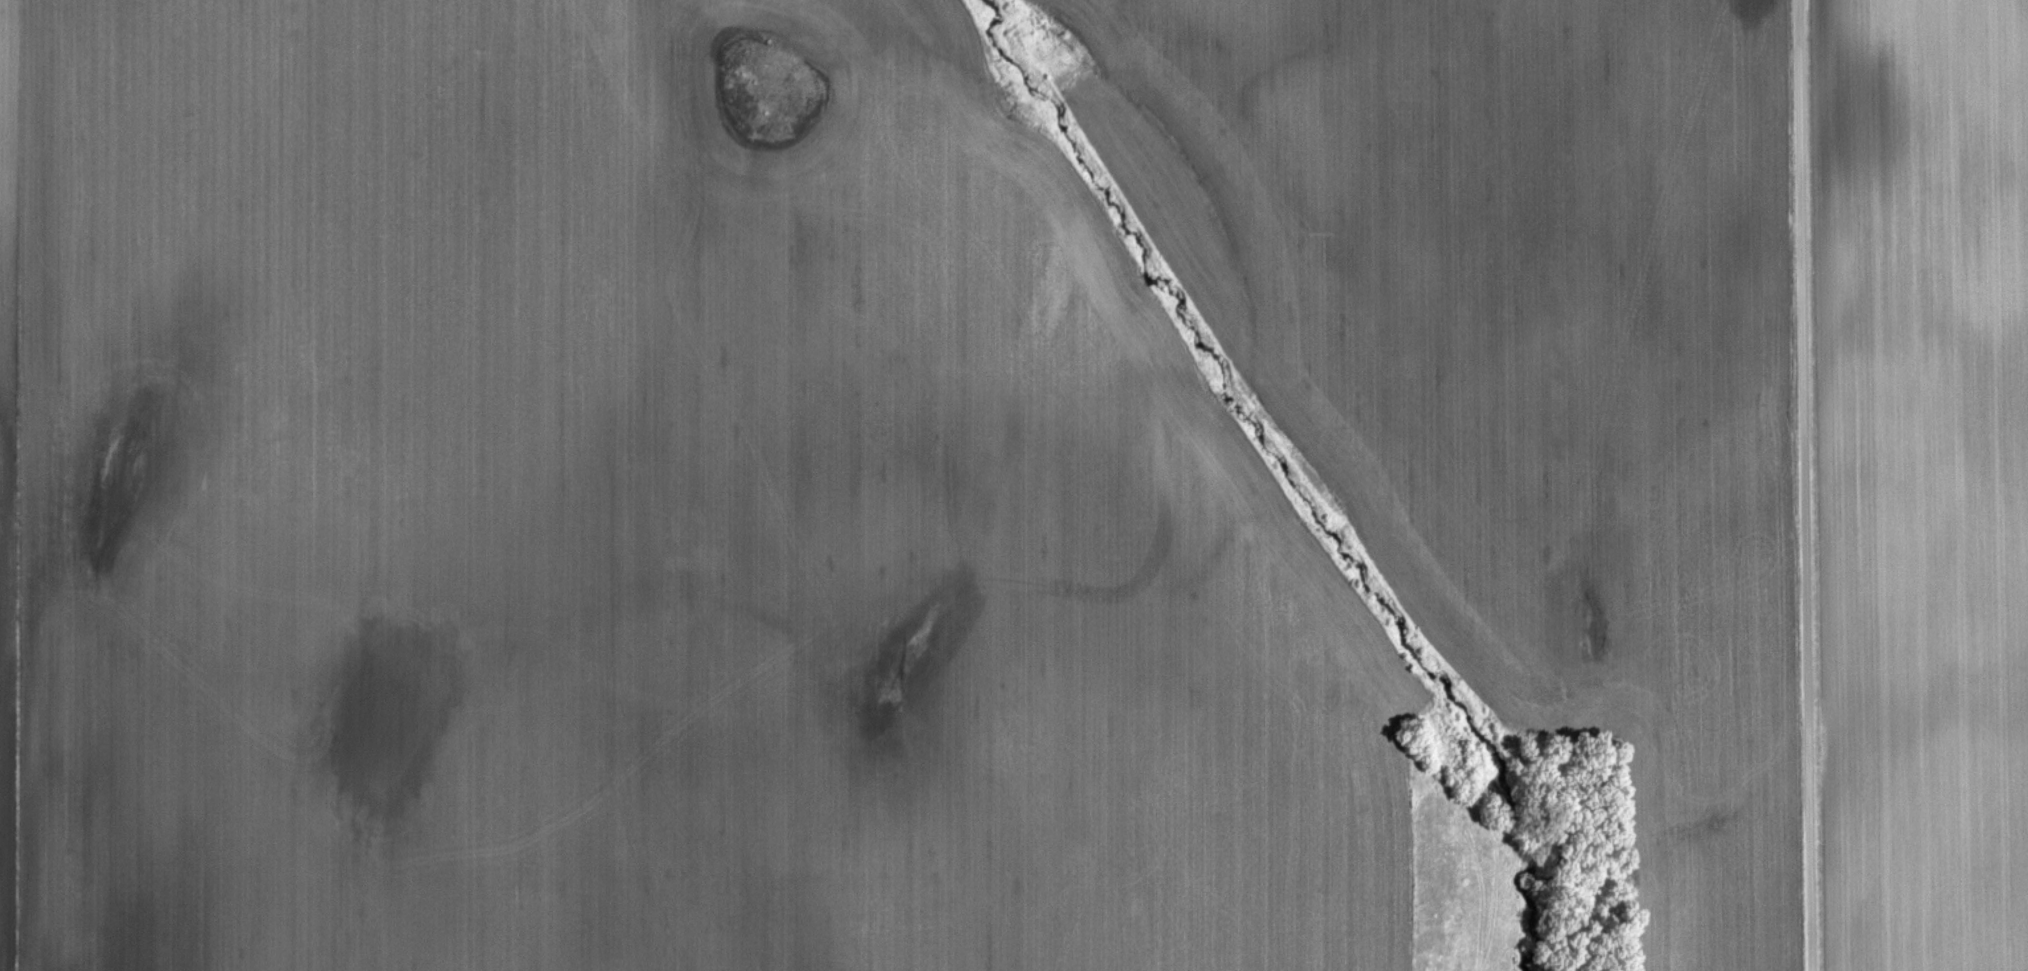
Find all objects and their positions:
road: (1804, 485)

